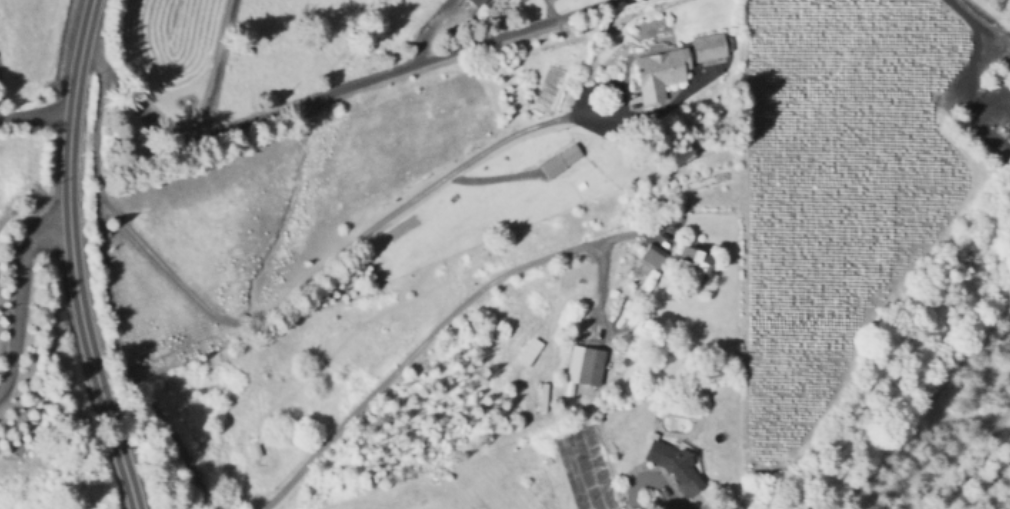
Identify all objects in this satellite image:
building: (476, 3)
road: (981, 44)
building: (710, 46)
building: (661, 72)
road: (345, 87)
road: (40, 113)
building: (568, 155)
crop: (567, 251)
road: (340, 255)
road: (71, 257)
building: (653, 257)
building: (693, 262)
road: (17, 288)
road: (105, 288)
road: (423, 338)
building: (590, 366)
building: (675, 465)
road: (663, 489)

